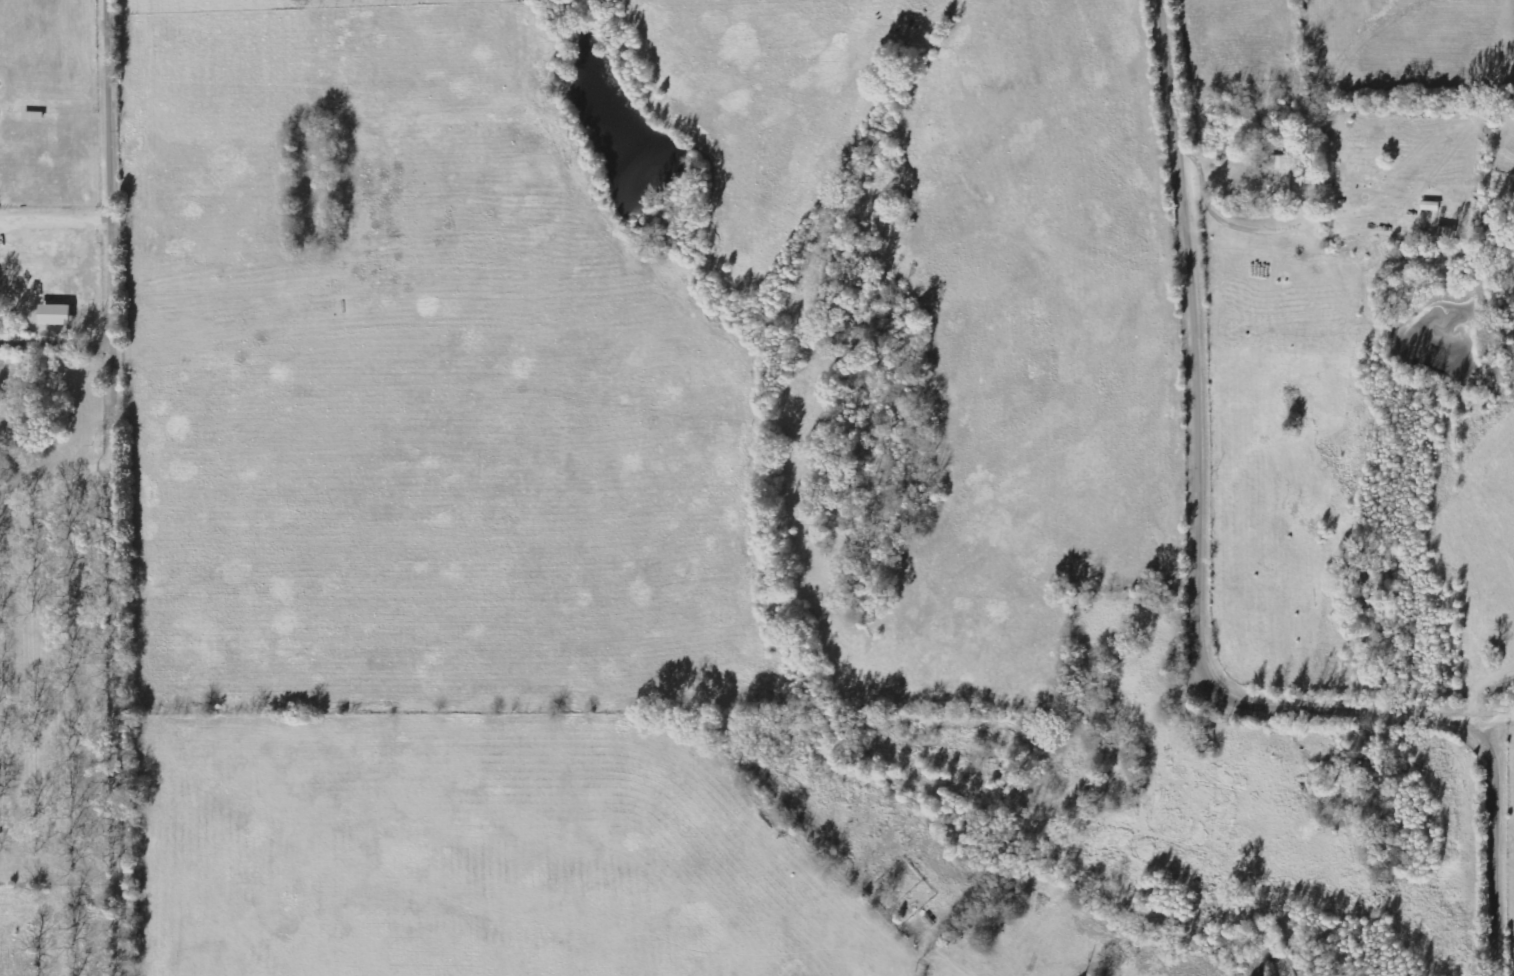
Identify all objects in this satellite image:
road: (1353, 198)
building: (1431, 206)
road: (59, 216)
building: (59, 315)
road: (61, 340)
road: (124, 487)
road: (1204, 602)
road: (1502, 741)

